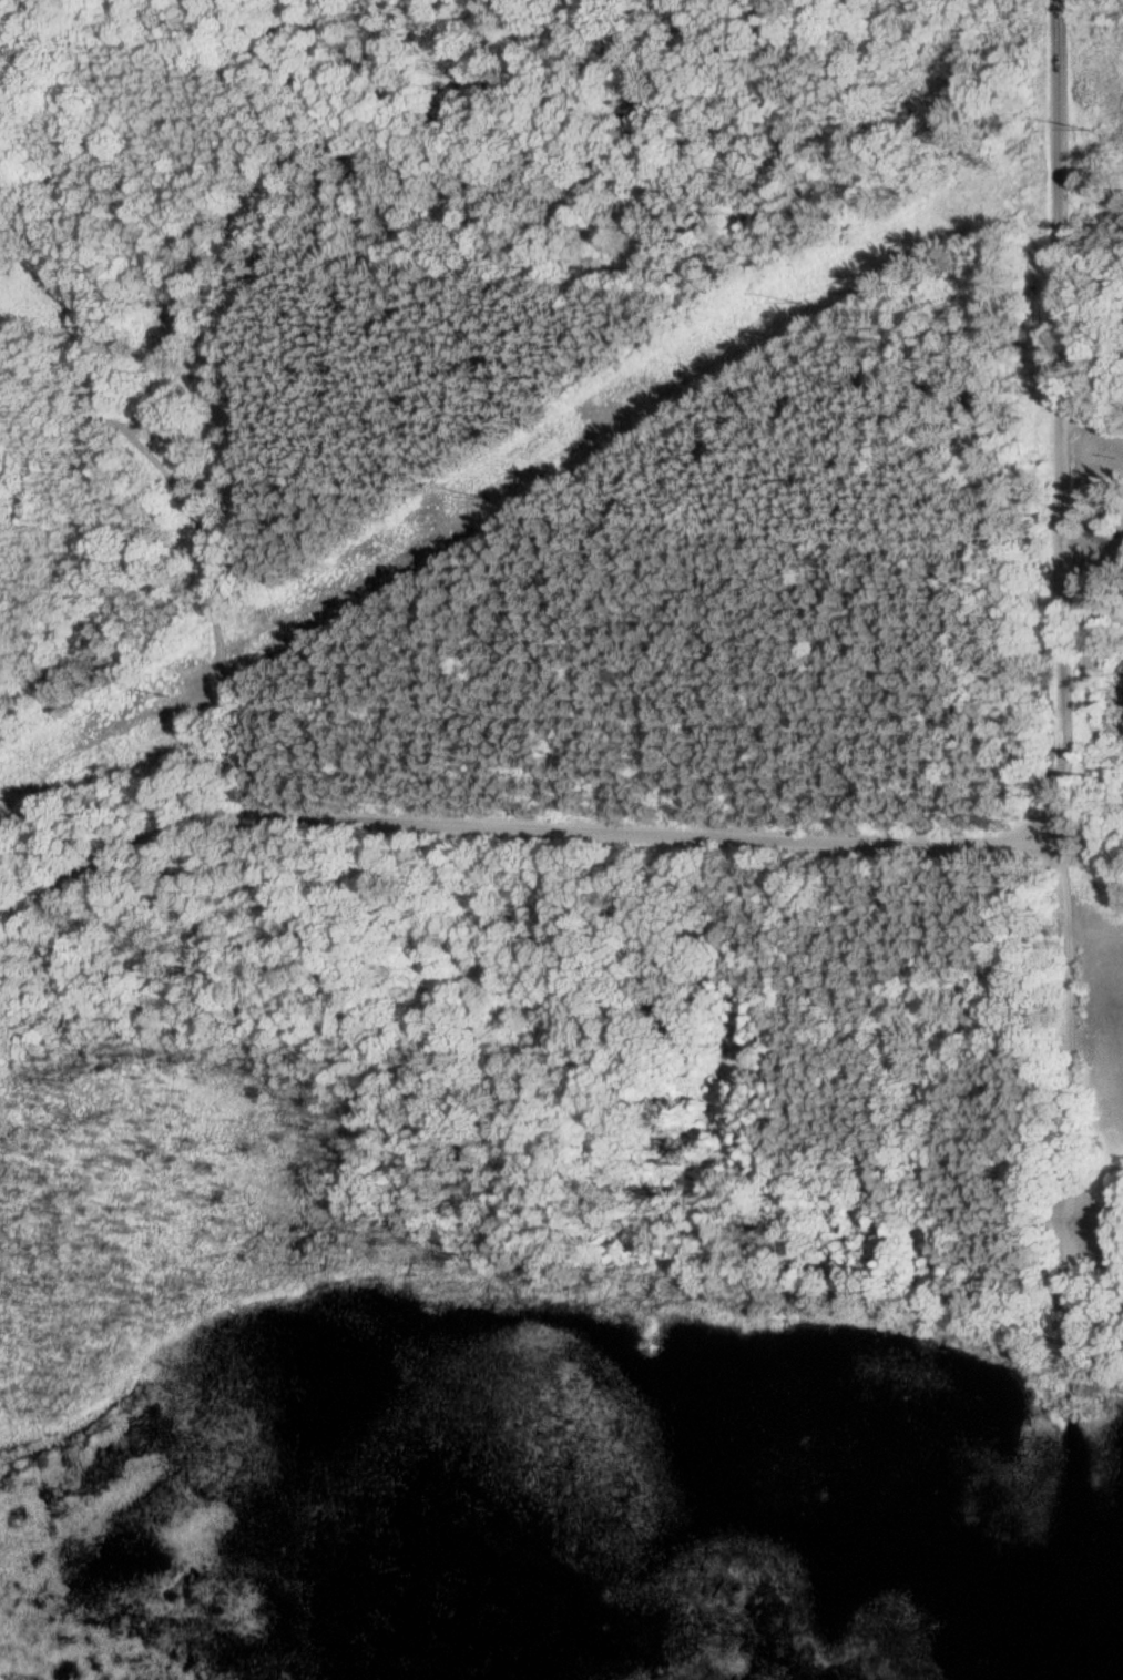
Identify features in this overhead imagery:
road: (1085, 399)
road: (191, 560)
road: (1053, 605)
road: (661, 829)
road: (123, 862)

